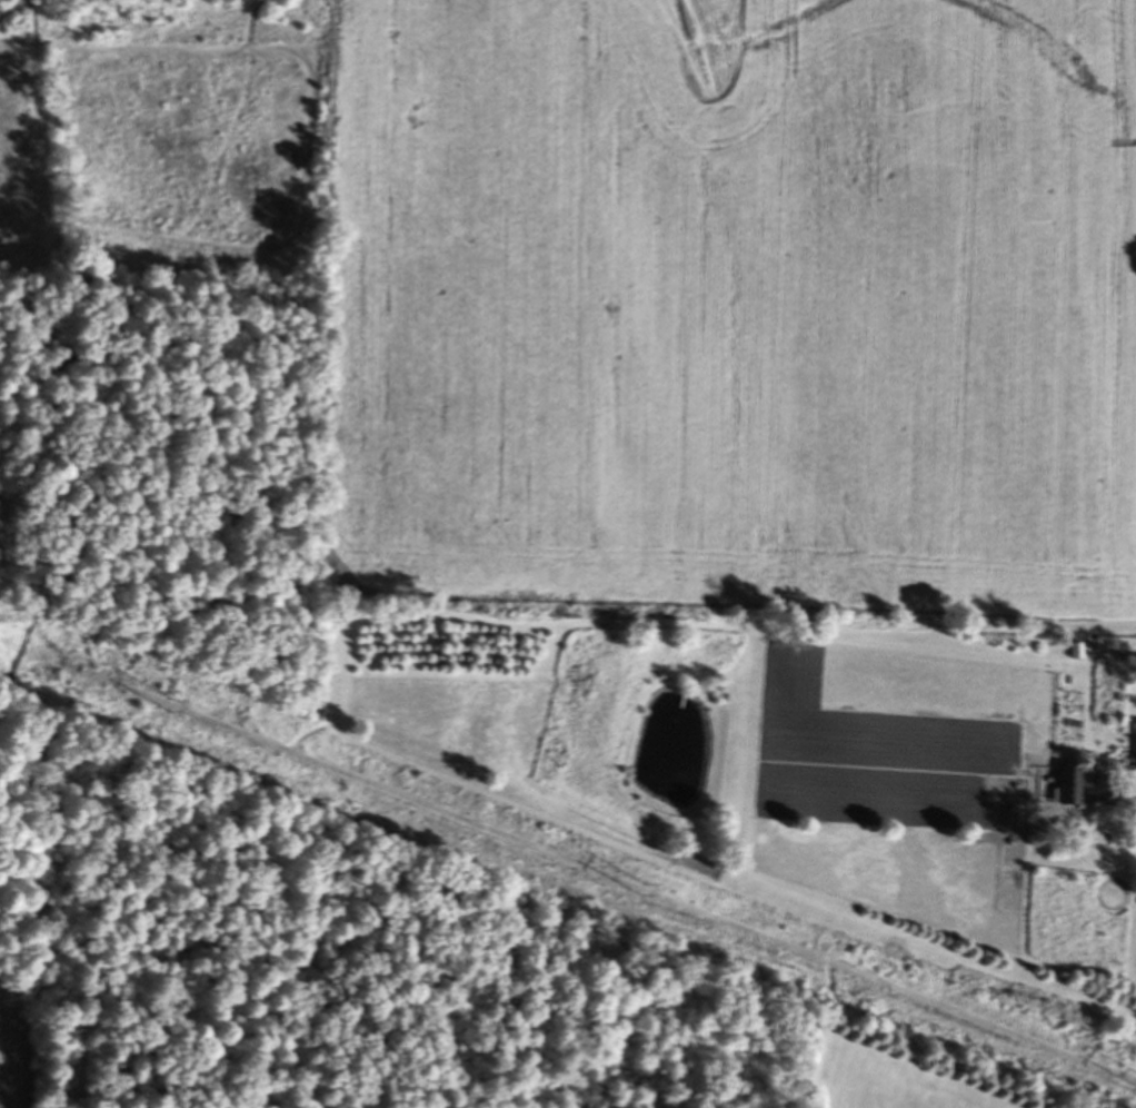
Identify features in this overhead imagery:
building: (1077, 653)
power tower: (182, 712)
building: (1070, 789)
power tower: (652, 894)
crop: (11, 1060)
power tower: (1126, 1081)

